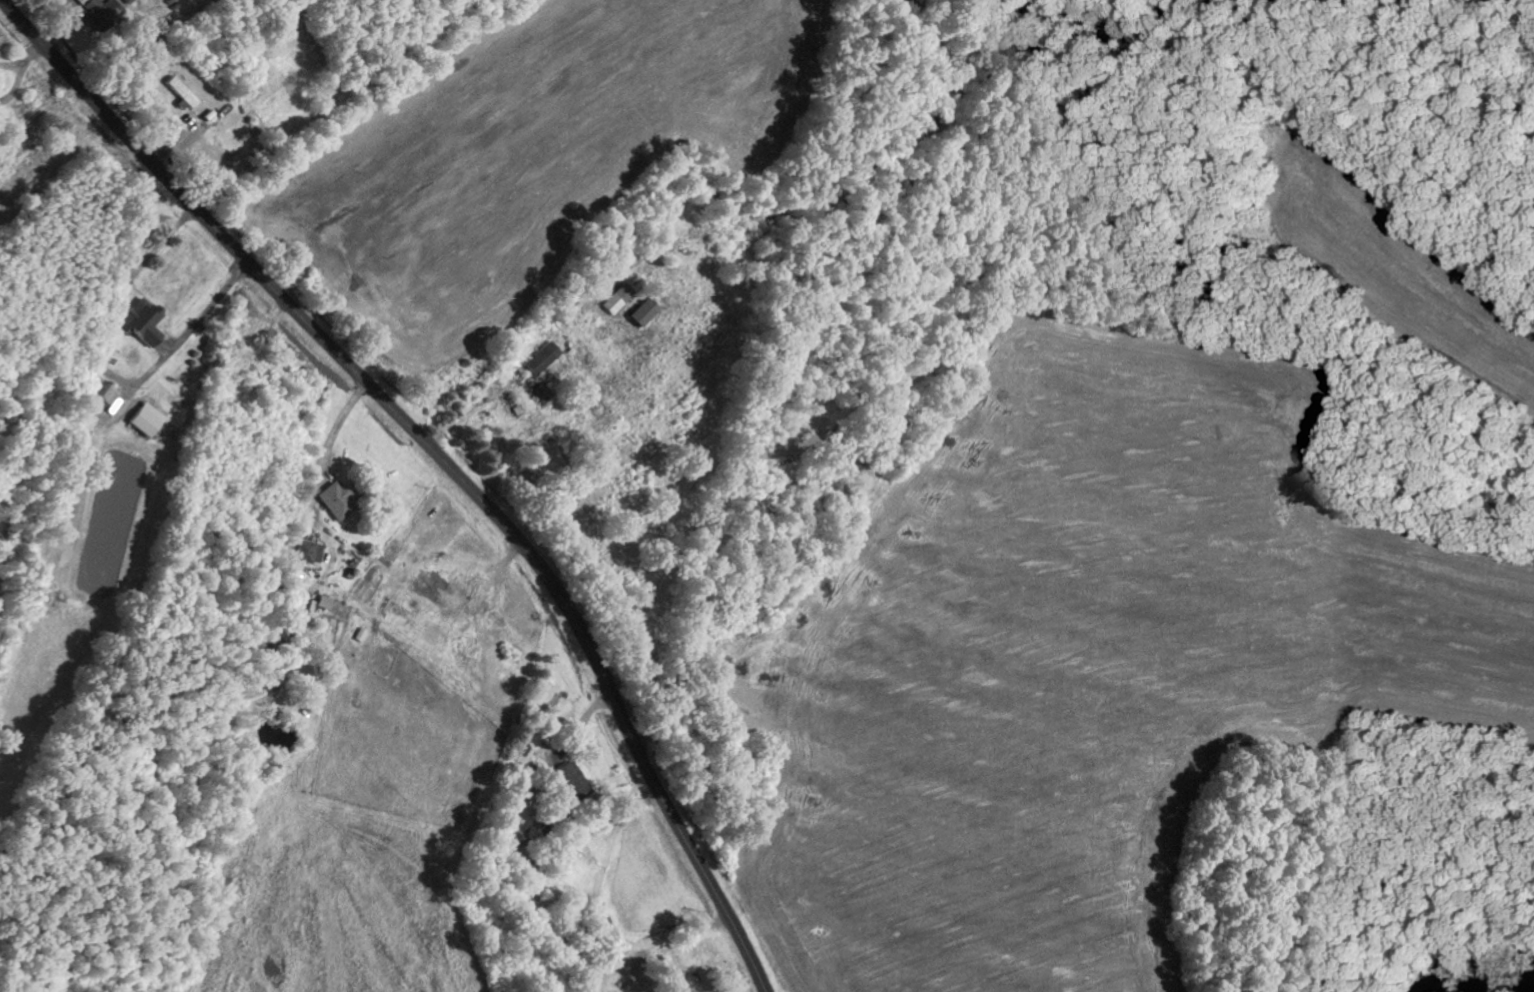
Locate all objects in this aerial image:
building: (181, 92)
building: (616, 298)
building: (642, 312)
building: (141, 321)
building: (542, 358)
building: (104, 389)
building: (147, 419)
road: (440, 455)
building: (337, 500)
building: (309, 552)
building: (325, 602)
building: (573, 780)
building: (510, 821)
river: (1502, 988)

